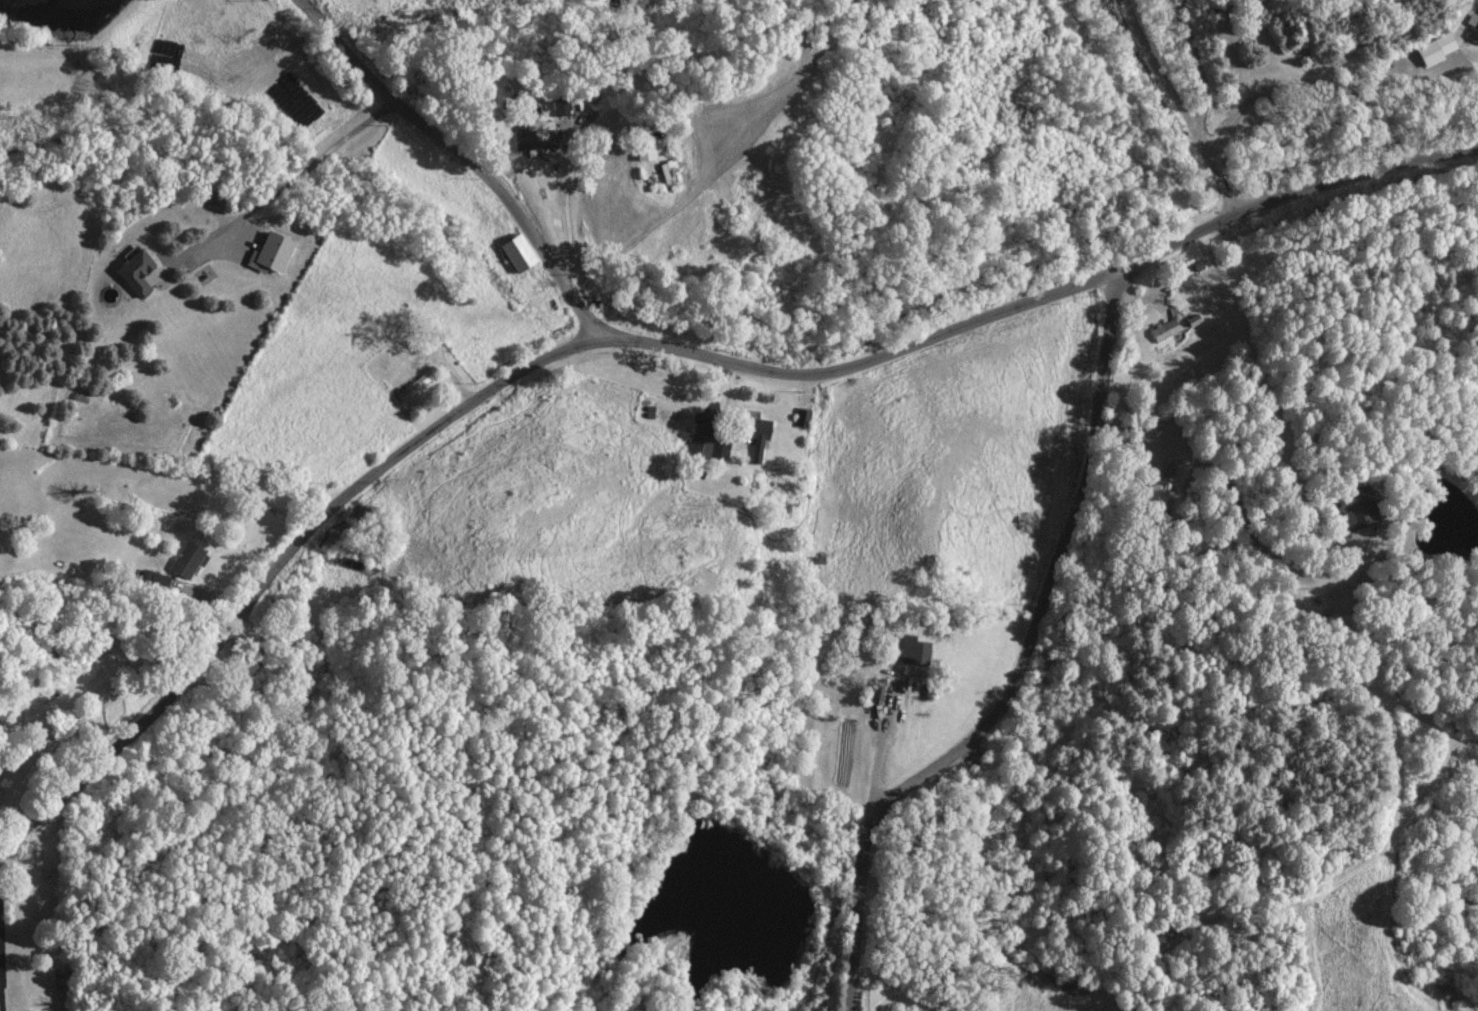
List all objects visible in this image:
building: (1435, 49)
road: (1160, 69)
road: (1285, 80)
building: (559, 107)
road: (1201, 108)
building: (535, 136)
building: (649, 150)
road: (464, 156)
building: (668, 172)
building: (515, 253)
building: (268, 254)
building: (134, 272)
building: (1164, 330)
road: (662, 345)
building: (416, 383)
building: (755, 436)
building: (704, 447)
building: (1358, 506)
road: (1240, 512)
building: (188, 561)
building: (912, 651)
road: (1018, 665)

